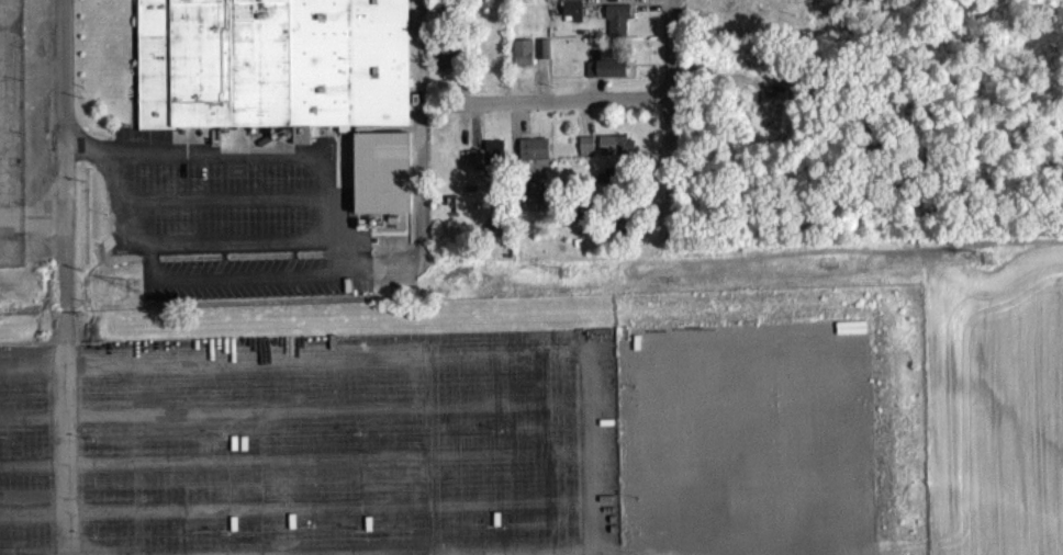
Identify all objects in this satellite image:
building: (612, 0)
building: (575, 21)
building: (620, 30)
building: (546, 58)
building: (524, 61)
building: (272, 64)
building: (612, 65)
building: (608, 78)
road: (566, 100)
road: (678, 114)
building: (304, 145)
road: (61, 150)
building: (589, 154)
building: (619, 155)
building: (536, 158)
building: (490, 162)
building: (537, 206)
road: (326, 212)
road: (64, 330)
road: (479, 347)

